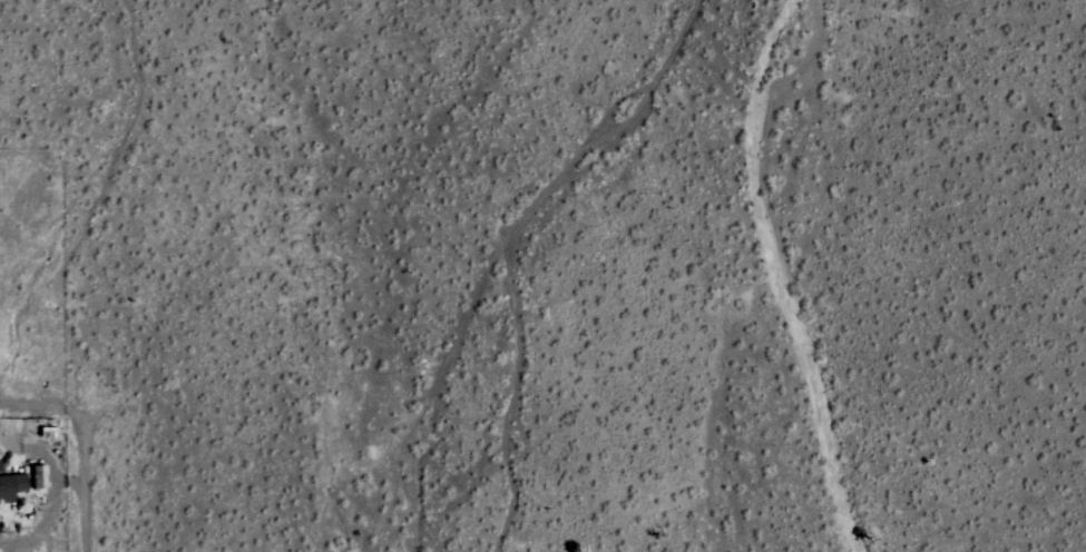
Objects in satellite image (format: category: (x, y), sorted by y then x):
road: (80, 444)

